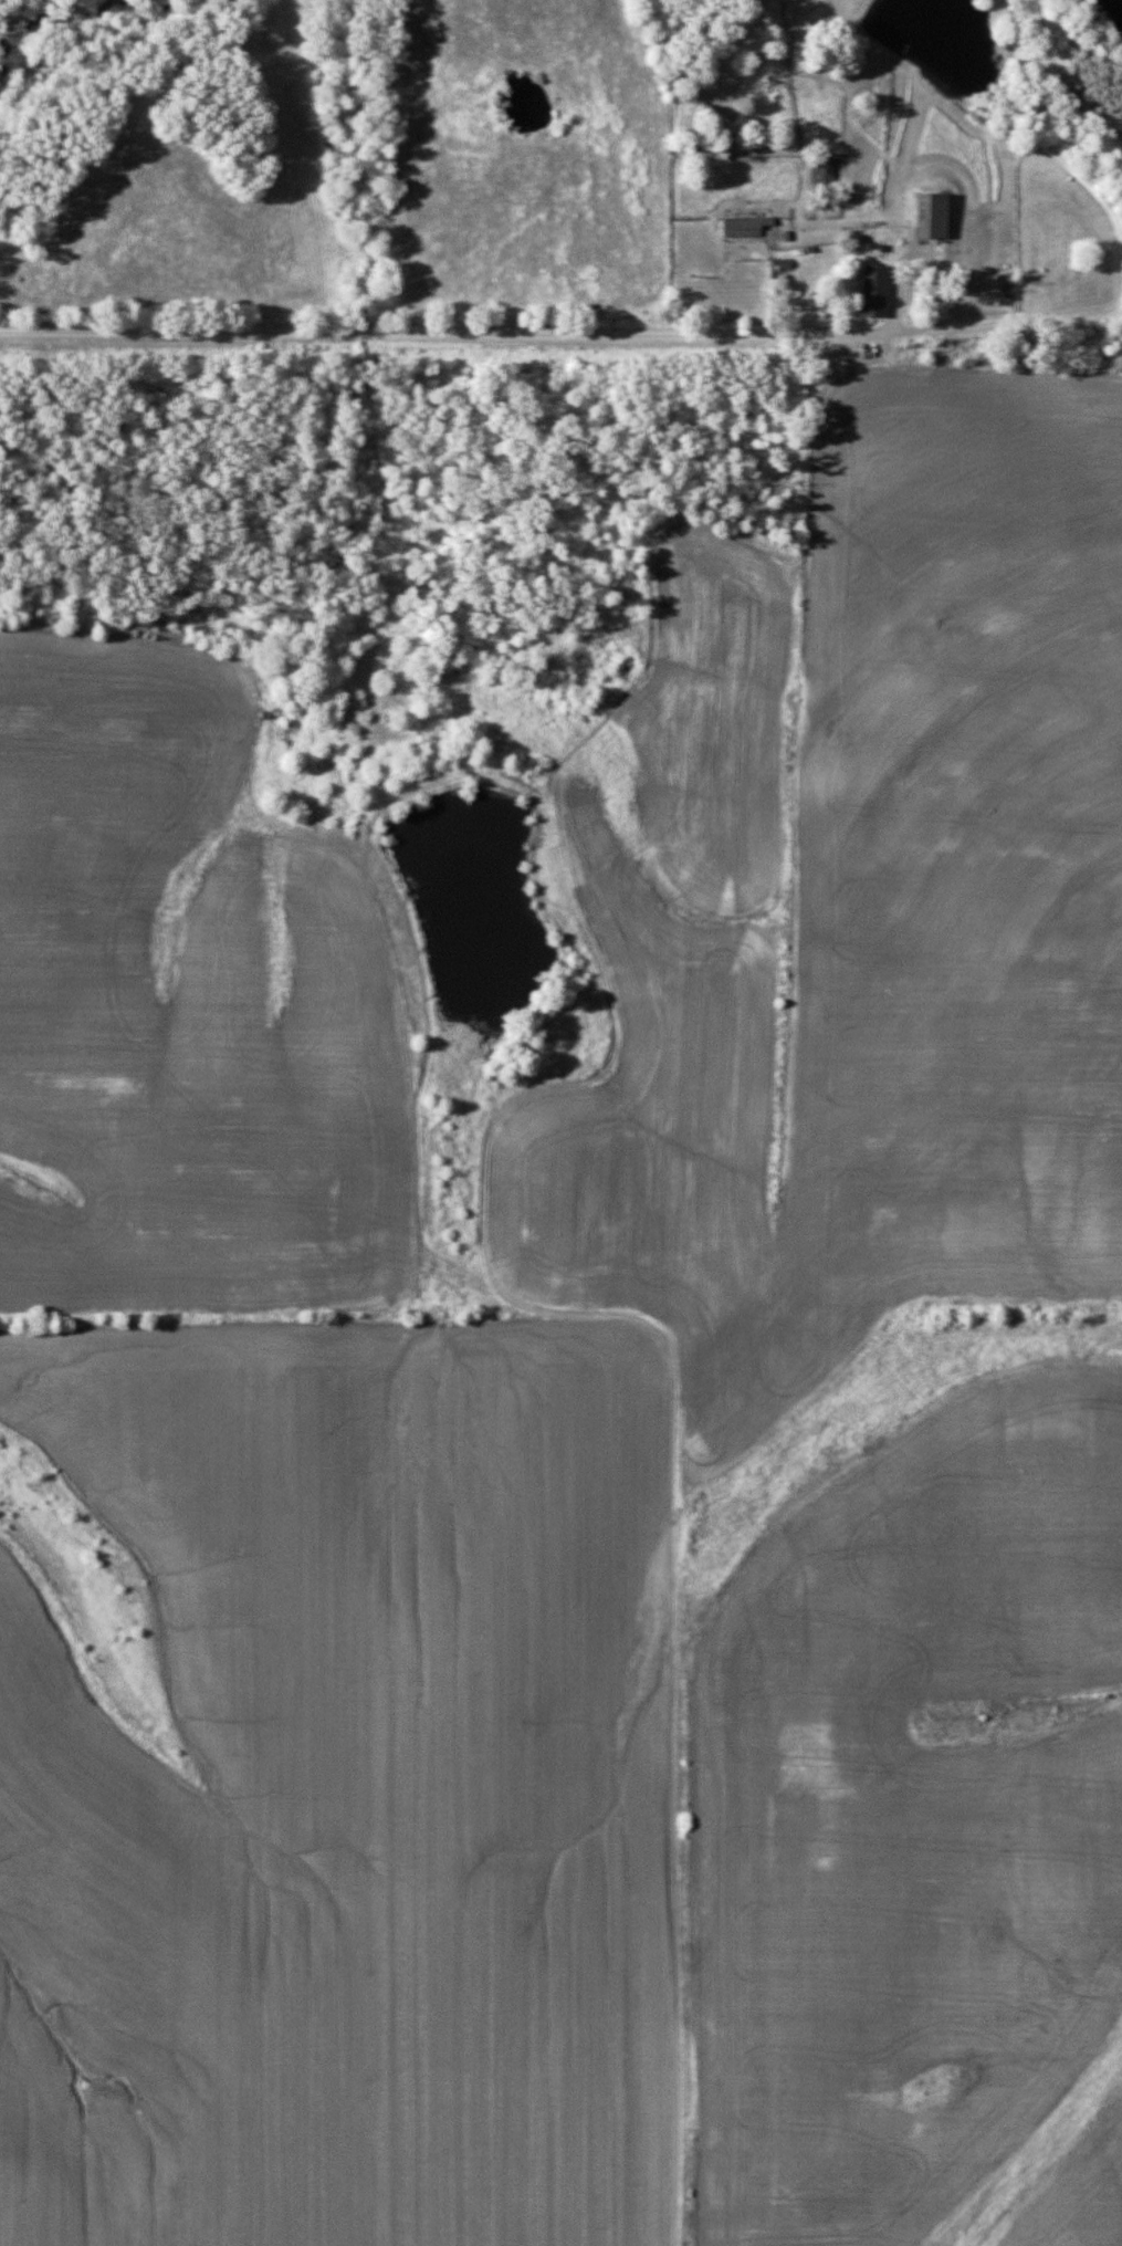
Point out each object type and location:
building: (821, 176)
building: (932, 216)
building: (748, 228)
building: (871, 291)
road: (473, 334)

